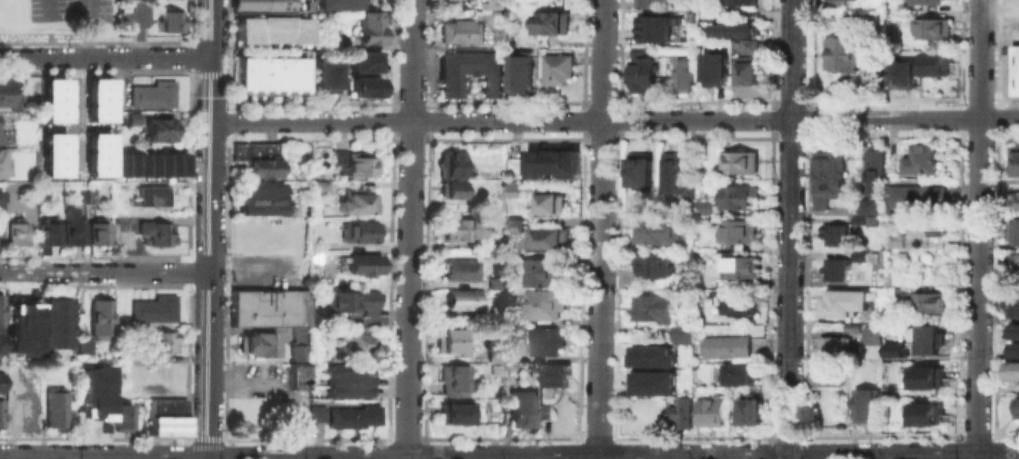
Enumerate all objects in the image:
building: (741, 1)
building: (927, 1)
building: (654, 2)
road: (1000, 3)
building: (339, 4)
building: (498, 4)
building: (259, 5)
building: (299, 5)
building: (467, 5)
road: (46, 7)
building: (167, 21)
building: (550, 22)
building: (650, 25)
building: (368, 26)
road: (85, 28)
building: (934, 28)
building: (271, 29)
building: (734, 29)
building: (461, 32)
building: (337, 42)
building: (849, 55)
building: (1015, 56)
road: (104, 57)
building: (364, 61)
building: (745, 62)
building: (933, 63)
building: (556, 67)
building: (714, 68)
building: (324, 72)
building: (469, 72)
building: (519, 72)
building: (640, 73)
building: (252, 74)
building: (684, 74)
building: (902, 74)
building: (241, 75)
building: (264, 75)
building: (275, 75)
building: (286, 75)
building: (298, 75)
building: (1015, 81)
building: (362, 85)
building: (4, 91)
building: (152, 94)
building: (51, 98)
building: (98, 99)
road: (76, 110)
building: (130, 113)
road: (614, 119)
building: (158, 129)
building: (698, 151)
building: (51, 153)
building: (97, 153)
building: (255, 156)
building: (338, 156)
building: (1013, 158)
building: (919, 159)
building: (2, 161)
building: (739, 161)
building: (149, 163)
building: (356, 164)
building: (450, 164)
building: (552, 164)
building: (872, 167)
building: (636, 169)
building: (671, 174)
building: (827, 176)
building: (319, 186)
building: (449, 189)
building: (512, 191)
building: (687, 191)
building: (88, 193)
building: (152, 195)
building: (914, 195)
building: (258, 197)
building: (731, 200)
building: (1014, 200)
building: (357, 202)
building: (547, 202)
building: (867, 206)
building: (68, 211)
building: (855, 221)
building: (870, 221)
building: (512, 222)
road: (977, 226)
building: (925, 227)
road: (208, 229)
road: (410, 229)
building: (460, 229)
road: (599, 229)
road: (789, 229)
building: (1012, 230)
building: (72, 231)
building: (654, 231)
building: (737, 231)
building: (15, 232)
building: (47, 232)
building: (359, 232)
building: (98, 233)
building: (159, 233)
building: (833, 234)
building: (546, 237)
building: (894, 241)
building: (857, 257)
building: (1014, 259)
road: (247, 262)
building: (361, 264)
building: (654, 265)
building: (739, 266)
building: (834, 269)
building: (457, 270)
road: (103, 271)
building: (537, 271)
building: (898, 288)
building: (460, 298)
building: (352, 301)
building: (842, 302)
building: (924, 302)
building: (1012, 302)
building: (542, 304)
building: (268, 306)
building: (737, 307)
building: (650, 308)
building: (1, 309)
building: (158, 309)
building: (494, 314)
building: (99, 318)
building: (56, 323)
building: (22, 327)
building: (1016, 330)
building: (297, 333)
building: (679, 333)
building: (871, 335)
building: (927, 340)
building: (357, 341)
building: (542, 341)
building: (160, 342)
building: (256, 342)
building: (454, 342)
building: (1, 343)
building: (82, 344)
building: (724, 346)
building: (831, 346)
building: (1016, 348)
building: (295, 349)
building: (894, 349)
building: (515, 353)
building: (650, 355)
building: (490, 357)
building: (14, 370)
building: (1012, 371)
building: (738, 373)
building: (828, 374)
building: (297, 375)
building: (556, 375)
building: (924, 376)
building: (452, 379)
building: (347, 380)
building: (1, 381)
building: (651, 382)
road: (281, 389)
building: (93, 391)
building: (165, 405)
building: (865, 406)
building: (1016, 406)
building: (55, 407)
building: (0, 409)
building: (23, 409)
building: (521, 409)
building: (679, 410)
building: (709, 411)
building: (749, 412)
building: (924, 412)
building: (121, 415)
building: (352, 415)
building: (455, 415)
building: (166, 426)
road: (103, 455)
road: (612, 456)
road: (974, 456)
road: (89, 457)

